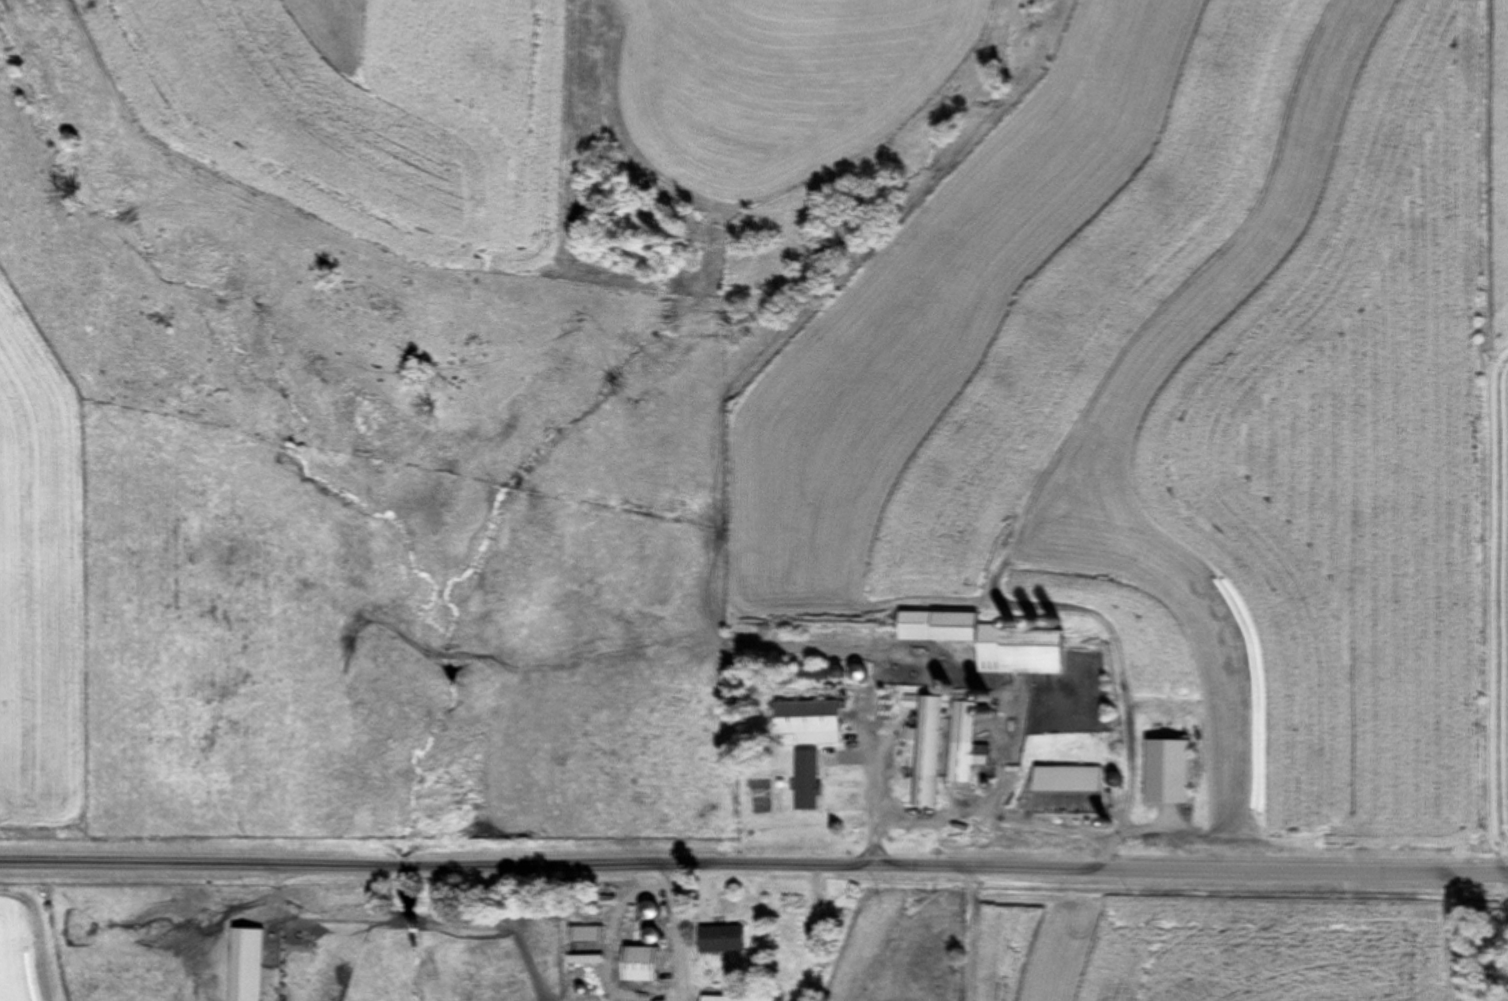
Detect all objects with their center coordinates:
building: (946, 626)
building: (1037, 652)
building: (813, 717)
building: (928, 732)
building: (969, 742)
building: (813, 780)
road: (754, 839)
building: (654, 909)
building: (658, 936)
building: (729, 938)
building: (252, 965)
building: (743, 999)

